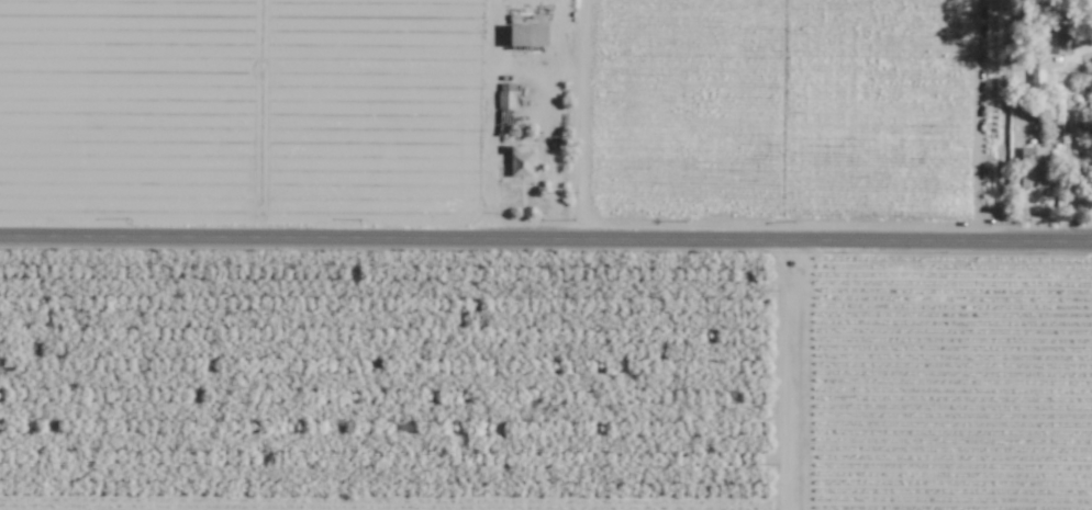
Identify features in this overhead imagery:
building: (1057, 43)
building: (1035, 79)
building: (1033, 167)
road: (546, 238)

